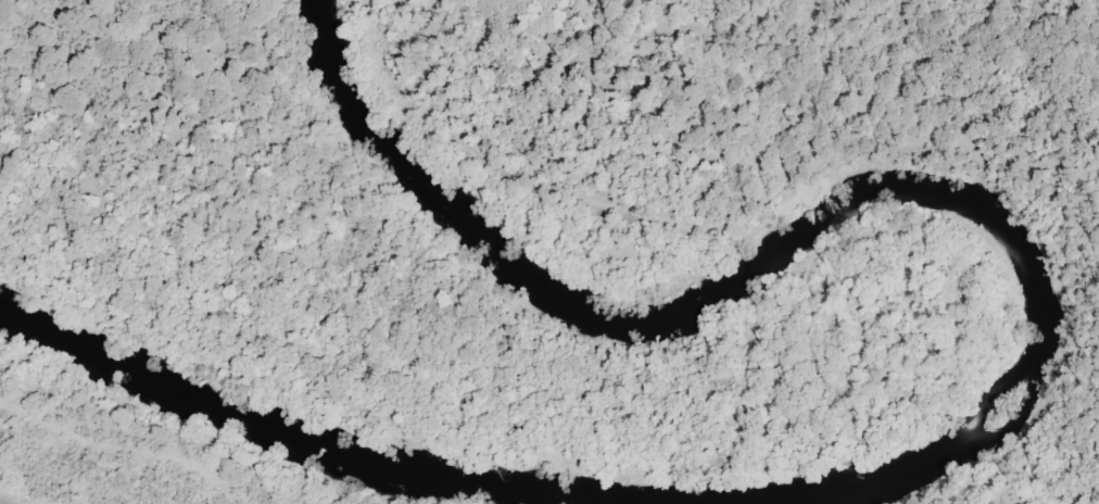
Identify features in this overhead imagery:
river: (1024, 402)
road: (126, 466)

